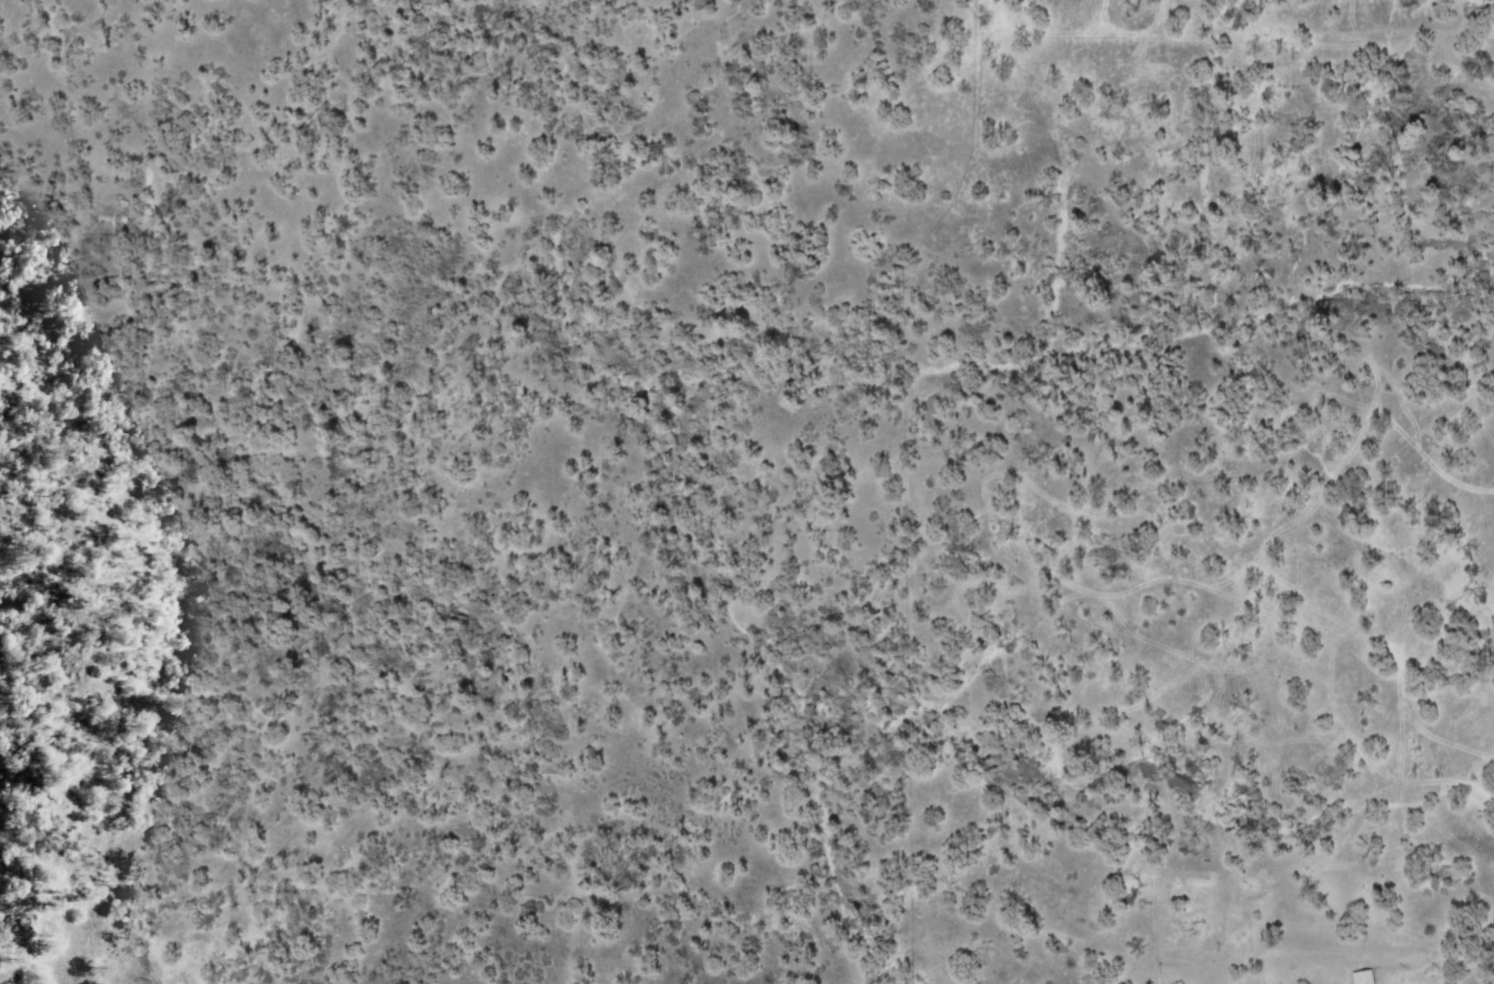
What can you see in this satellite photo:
building: (1367, 977)

